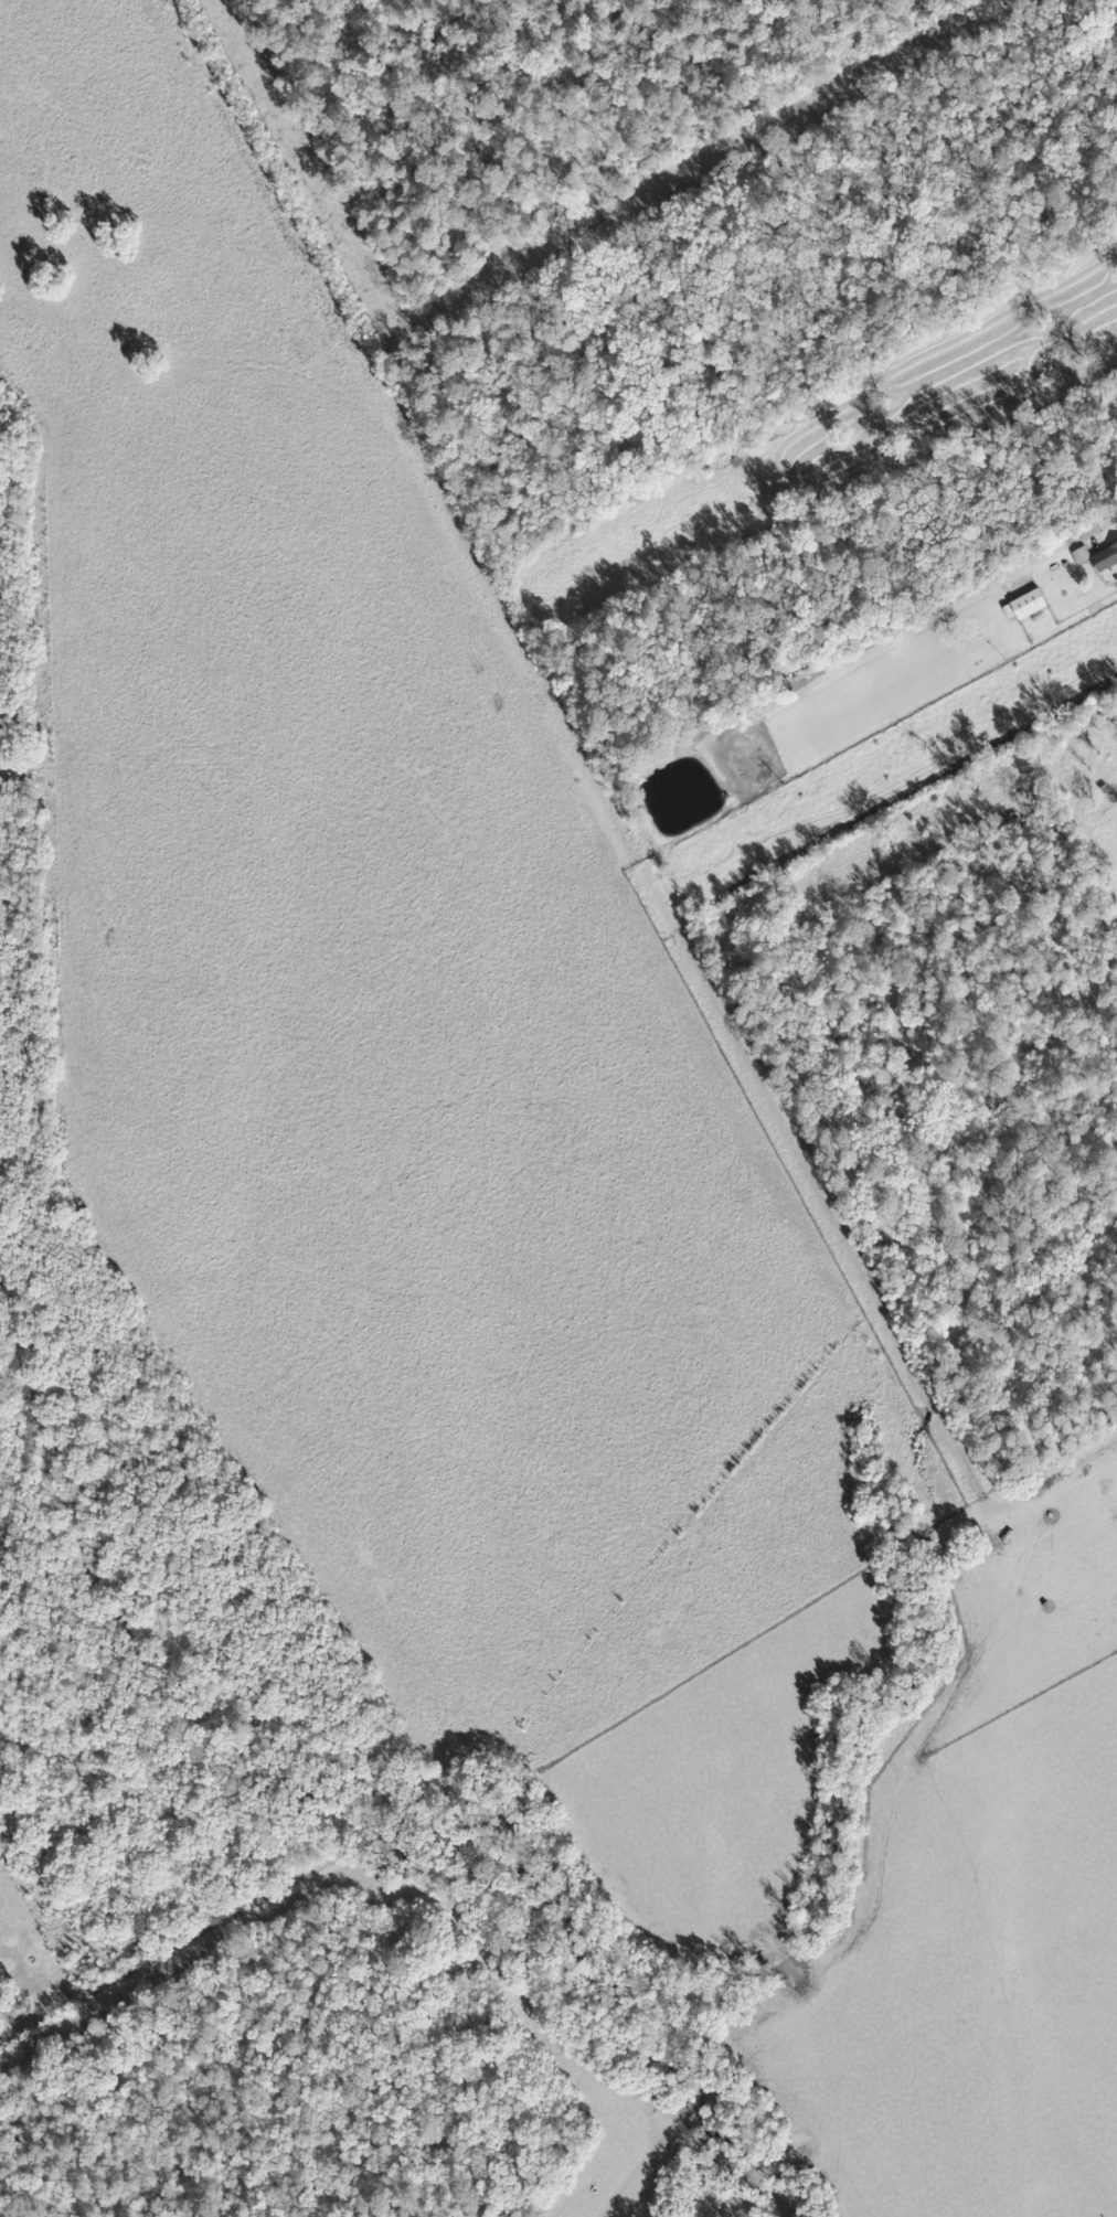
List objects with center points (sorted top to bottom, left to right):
road: (1104, 526)
building: (1079, 556)
building: (1104, 558)
building: (1023, 606)

